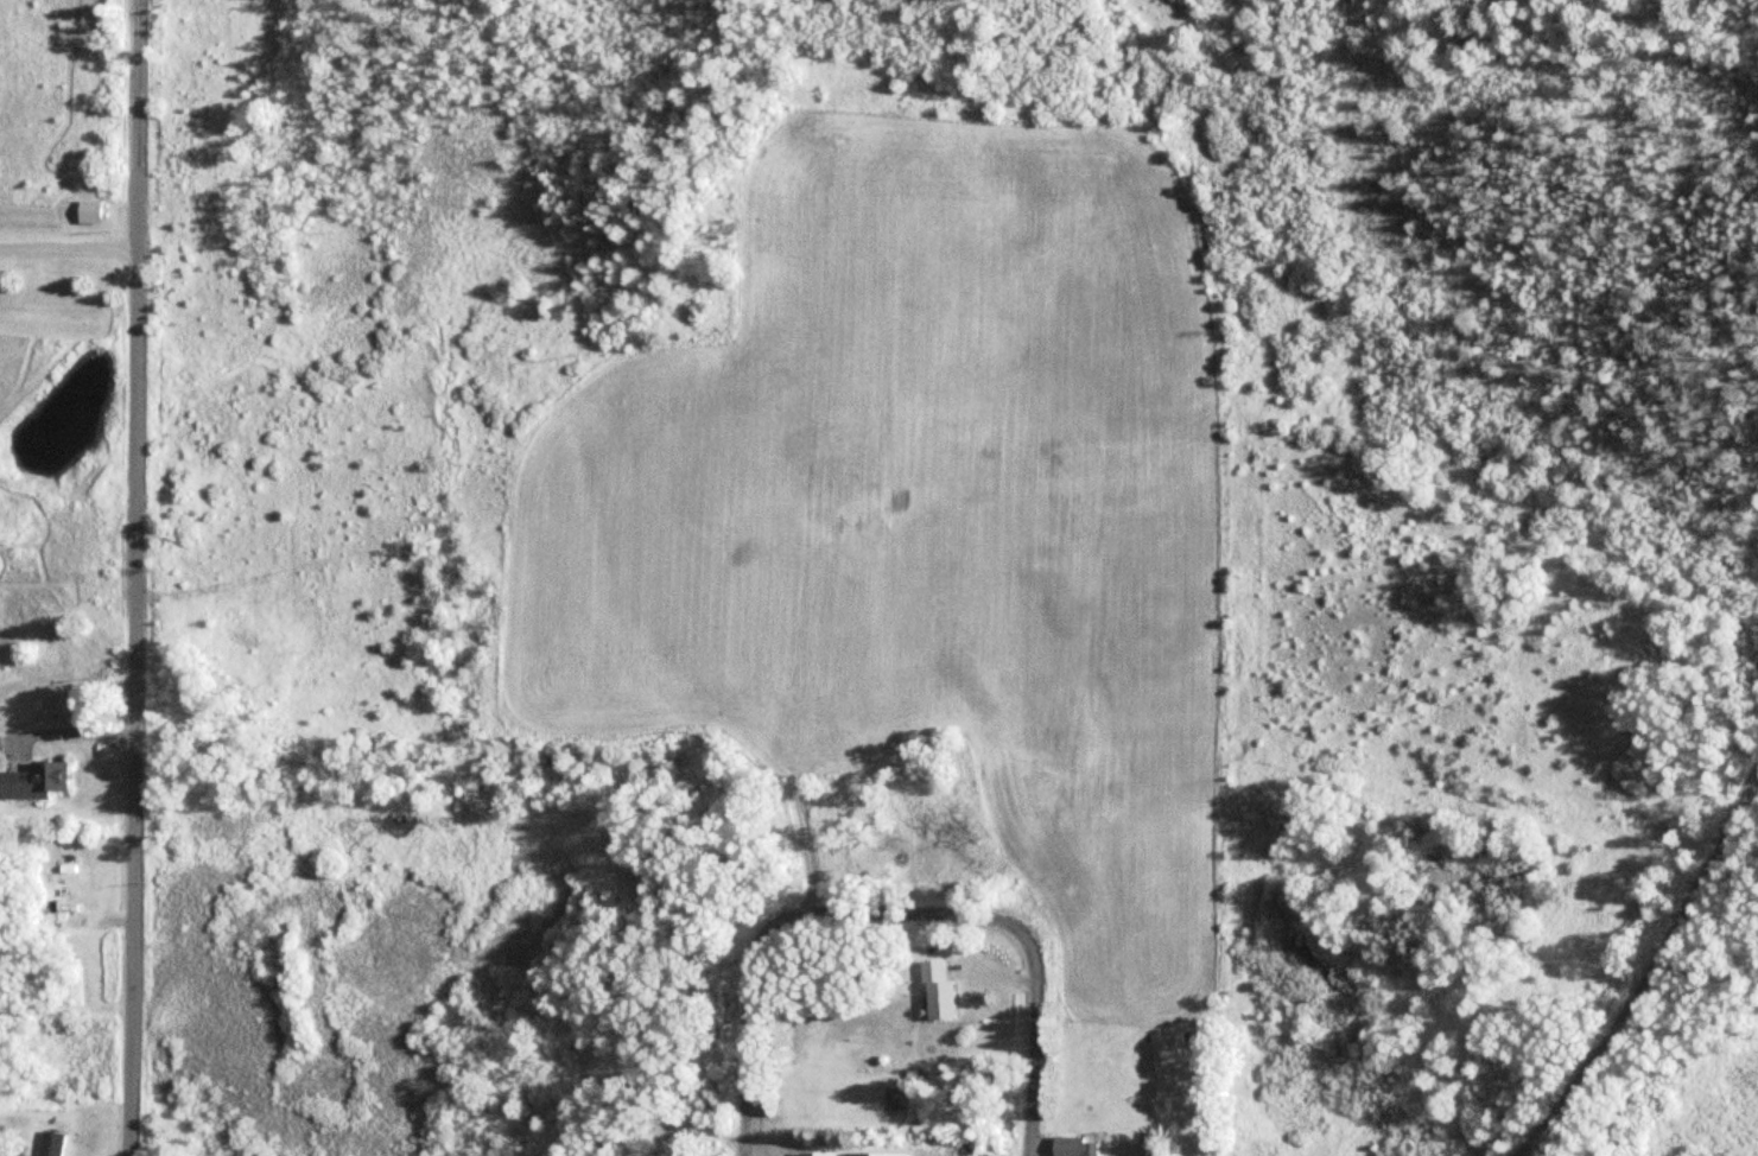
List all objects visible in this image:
building: (89, 211)
road: (133, 578)
building: (33, 779)
road: (895, 912)
building: (75, 919)
road: (1651, 973)
building: (938, 990)
road: (745, 1037)
road: (1032, 1041)
building: (51, 1143)
building: (1073, 1145)
building: (5, 1151)
building: (852, 1154)

